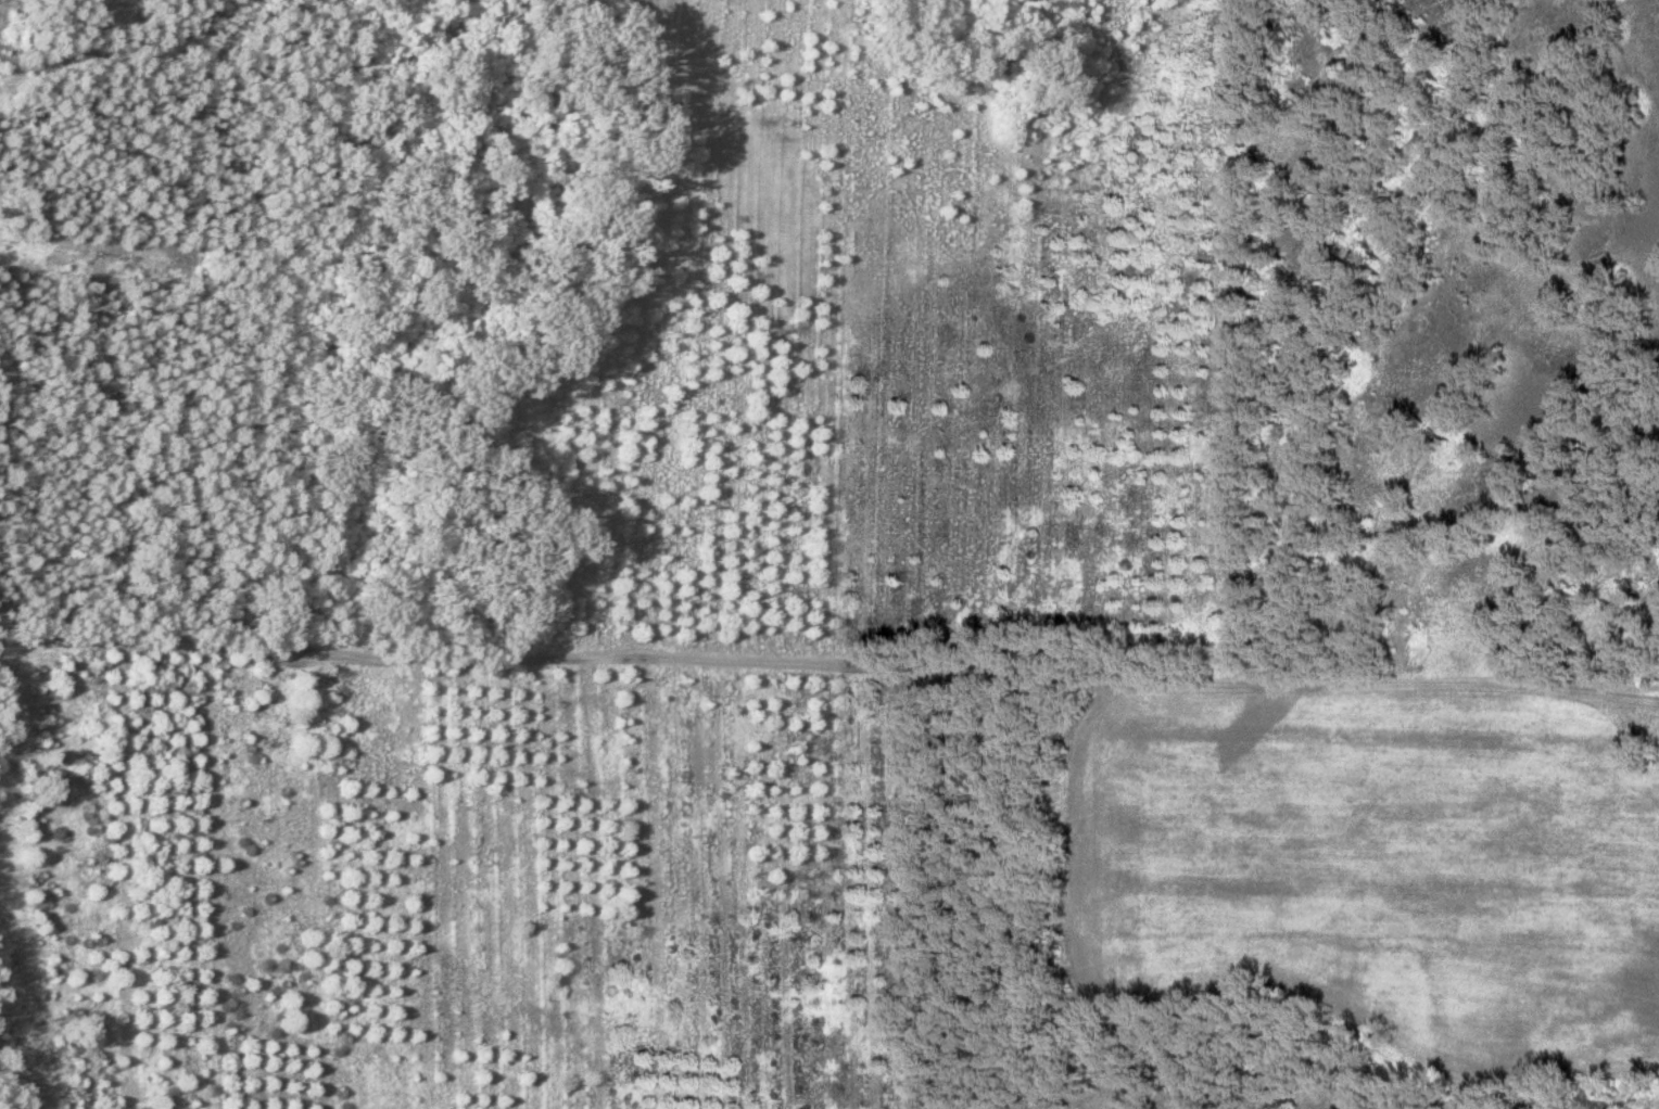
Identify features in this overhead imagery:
road: (824, 713)

